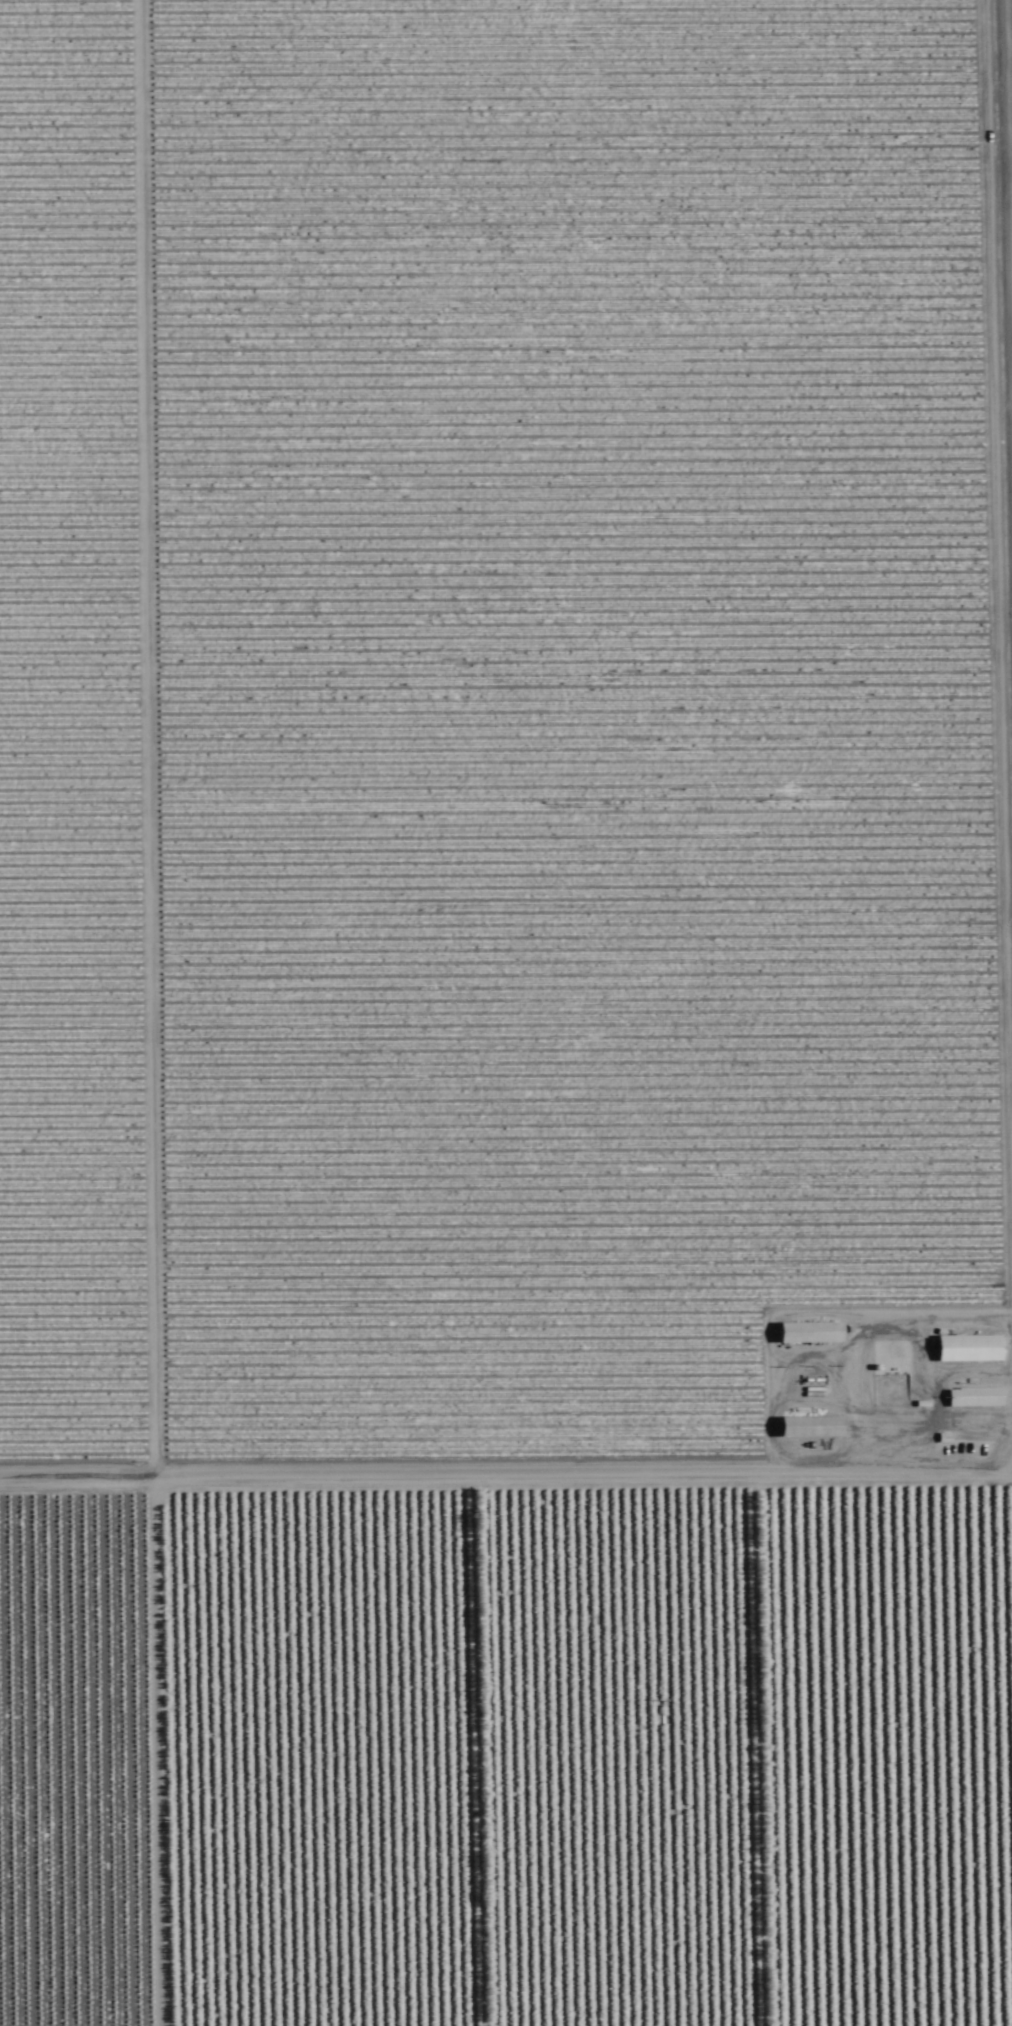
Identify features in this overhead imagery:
road: (134, 1012)
crop: (506, 1013)
road: (1002, 1220)
building: (811, 1332)
building: (969, 1348)
building: (975, 1398)
building: (812, 1427)
road: (505, 1445)

